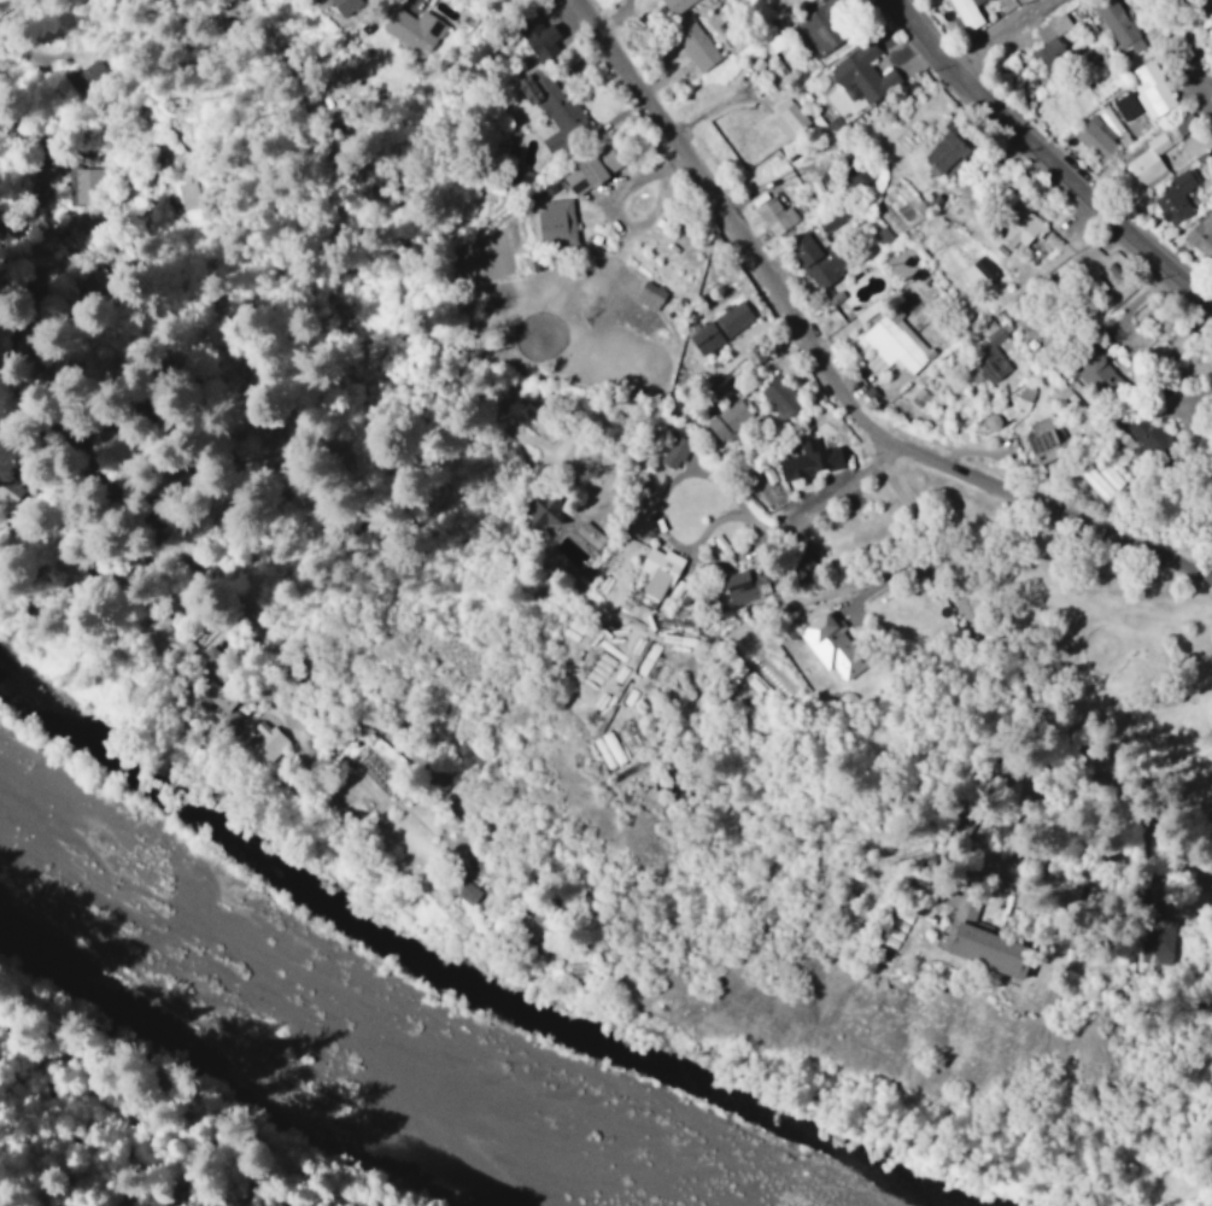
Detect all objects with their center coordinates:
building: (677, 4)
building: (967, 13)
building: (1118, 22)
building: (415, 28)
building: (822, 29)
building: (1052, 35)
building: (543, 37)
building: (695, 41)
road: (1166, 53)
building: (865, 74)
building: (1144, 92)
road: (883, 96)
building: (555, 109)
building: (789, 117)
building: (1099, 133)
building: (949, 151)
road: (1049, 152)
building: (1147, 158)
building: (595, 169)
building: (859, 176)
building: (81, 182)
building: (1176, 195)
building: (773, 213)
building: (560, 221)
building: (1020, 226)
building: (1202, 234)
building: (821, 263)
building: (980, 270)
building: (651, 294)
building: (722, 326)
building: (894, 344)
building: (994, 355)
road: (826, 371)
building: (781, 397)
building: (731, 418)
building: (1153, 437)
building: (1043, 439)
building: (675, 450)
road: (147, 455)
building: (812, 459)
building: (572, 520)
road: (794, 521)
building: (660, 573)
building: (750, 581)
road: (1136, 615)
building: (163, 638)
building: (838, 645)
road: (1114, 651)
building: (765, 668)
building: (221, 696)
road: (1023, 703)
building: (379, 772)
building: (991, 938)
building: (1166, 941)
river: (96, 1008)
river: (561, 1041)

